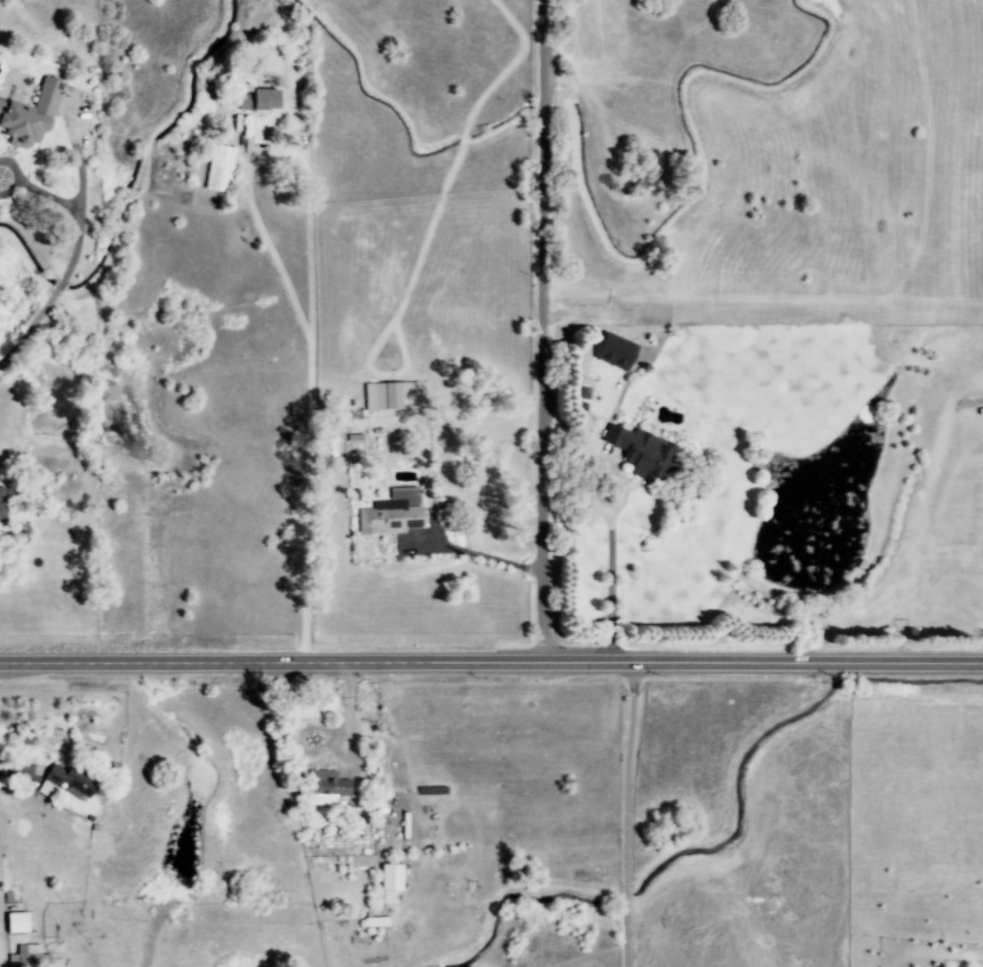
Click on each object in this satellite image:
building: (259, 100)
building: (30, 115)
building: (220, 168)
road: (77, 249)
road: (312, 287)
road: (544, 332)
building: (615, 351)
building: (392, 396)
building: (641, 452)
building: (3, 506)
building: (393, 513)
road: (483, 558)
road: (612, 588)
road: (491, 665)
building: (70, 779)
building: (326, 787)
road: (627, 815)
building: (391, 877)
building: (16, 922)
building: (29, 957)

